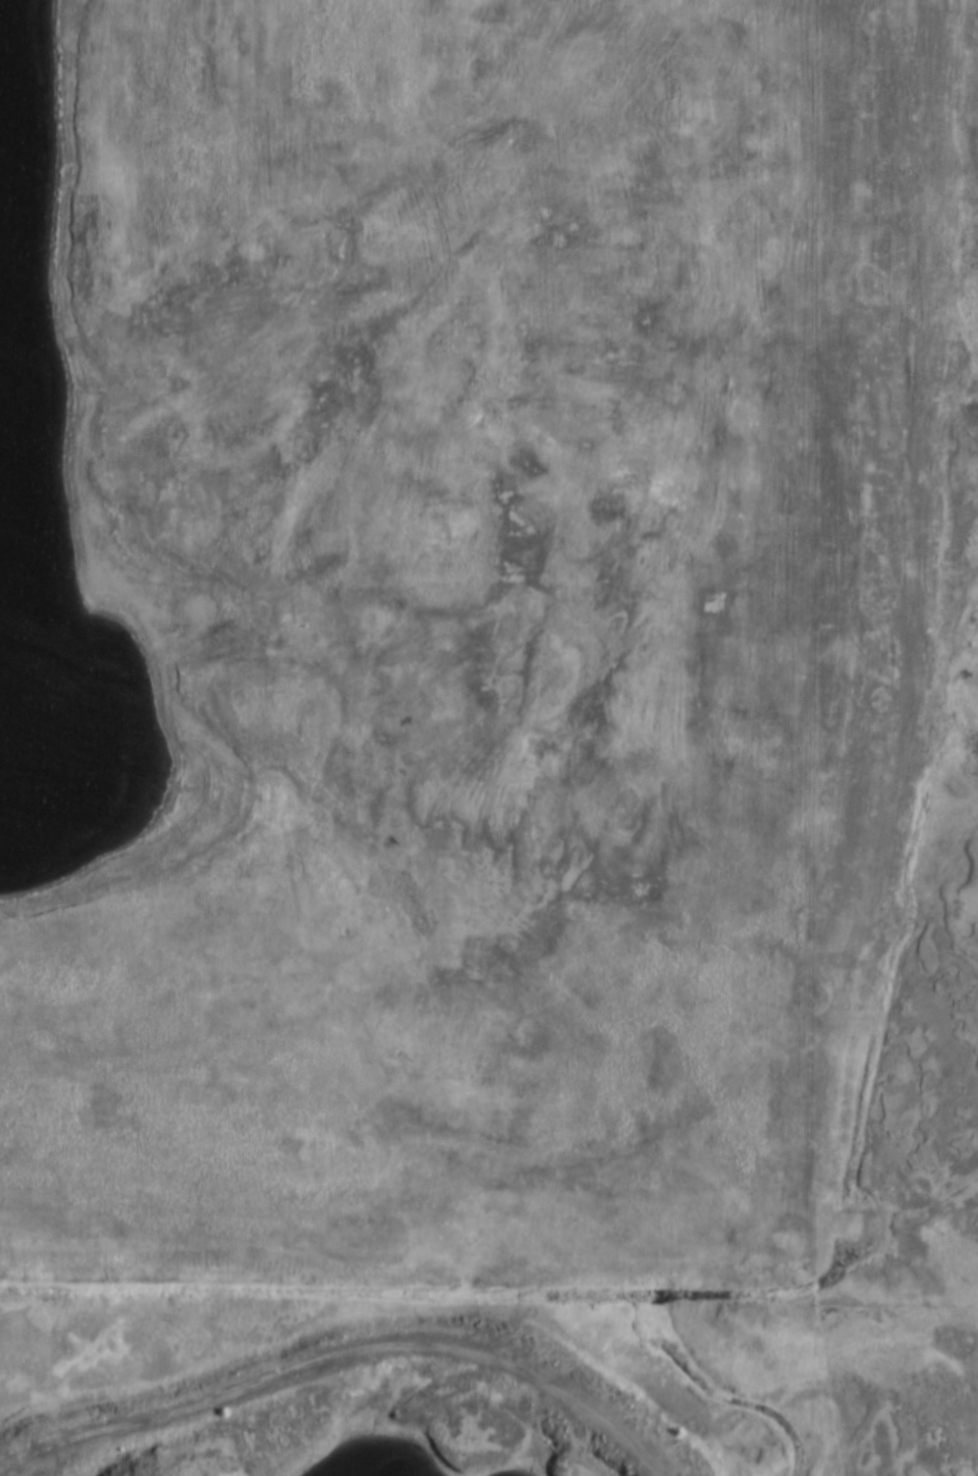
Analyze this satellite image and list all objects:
road: (344, 1358)
quarry: (368, 1413)

